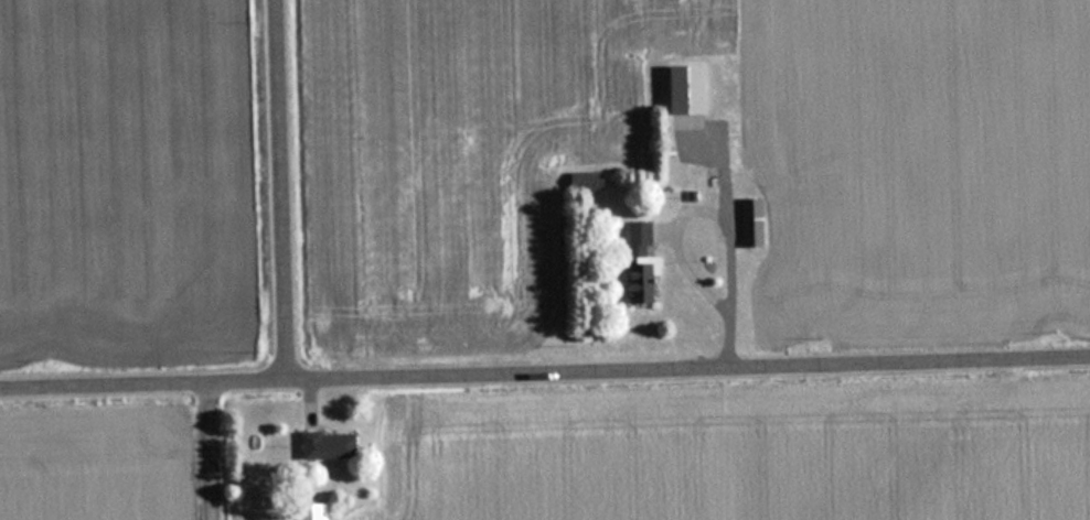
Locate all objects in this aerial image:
building: (678, 88)
road: (282, 189)
building: (747, 223)
building: (634, 260)
road: (544, 372)
building: (322, 445)
road: (213, 451)
building: (307, 511)

